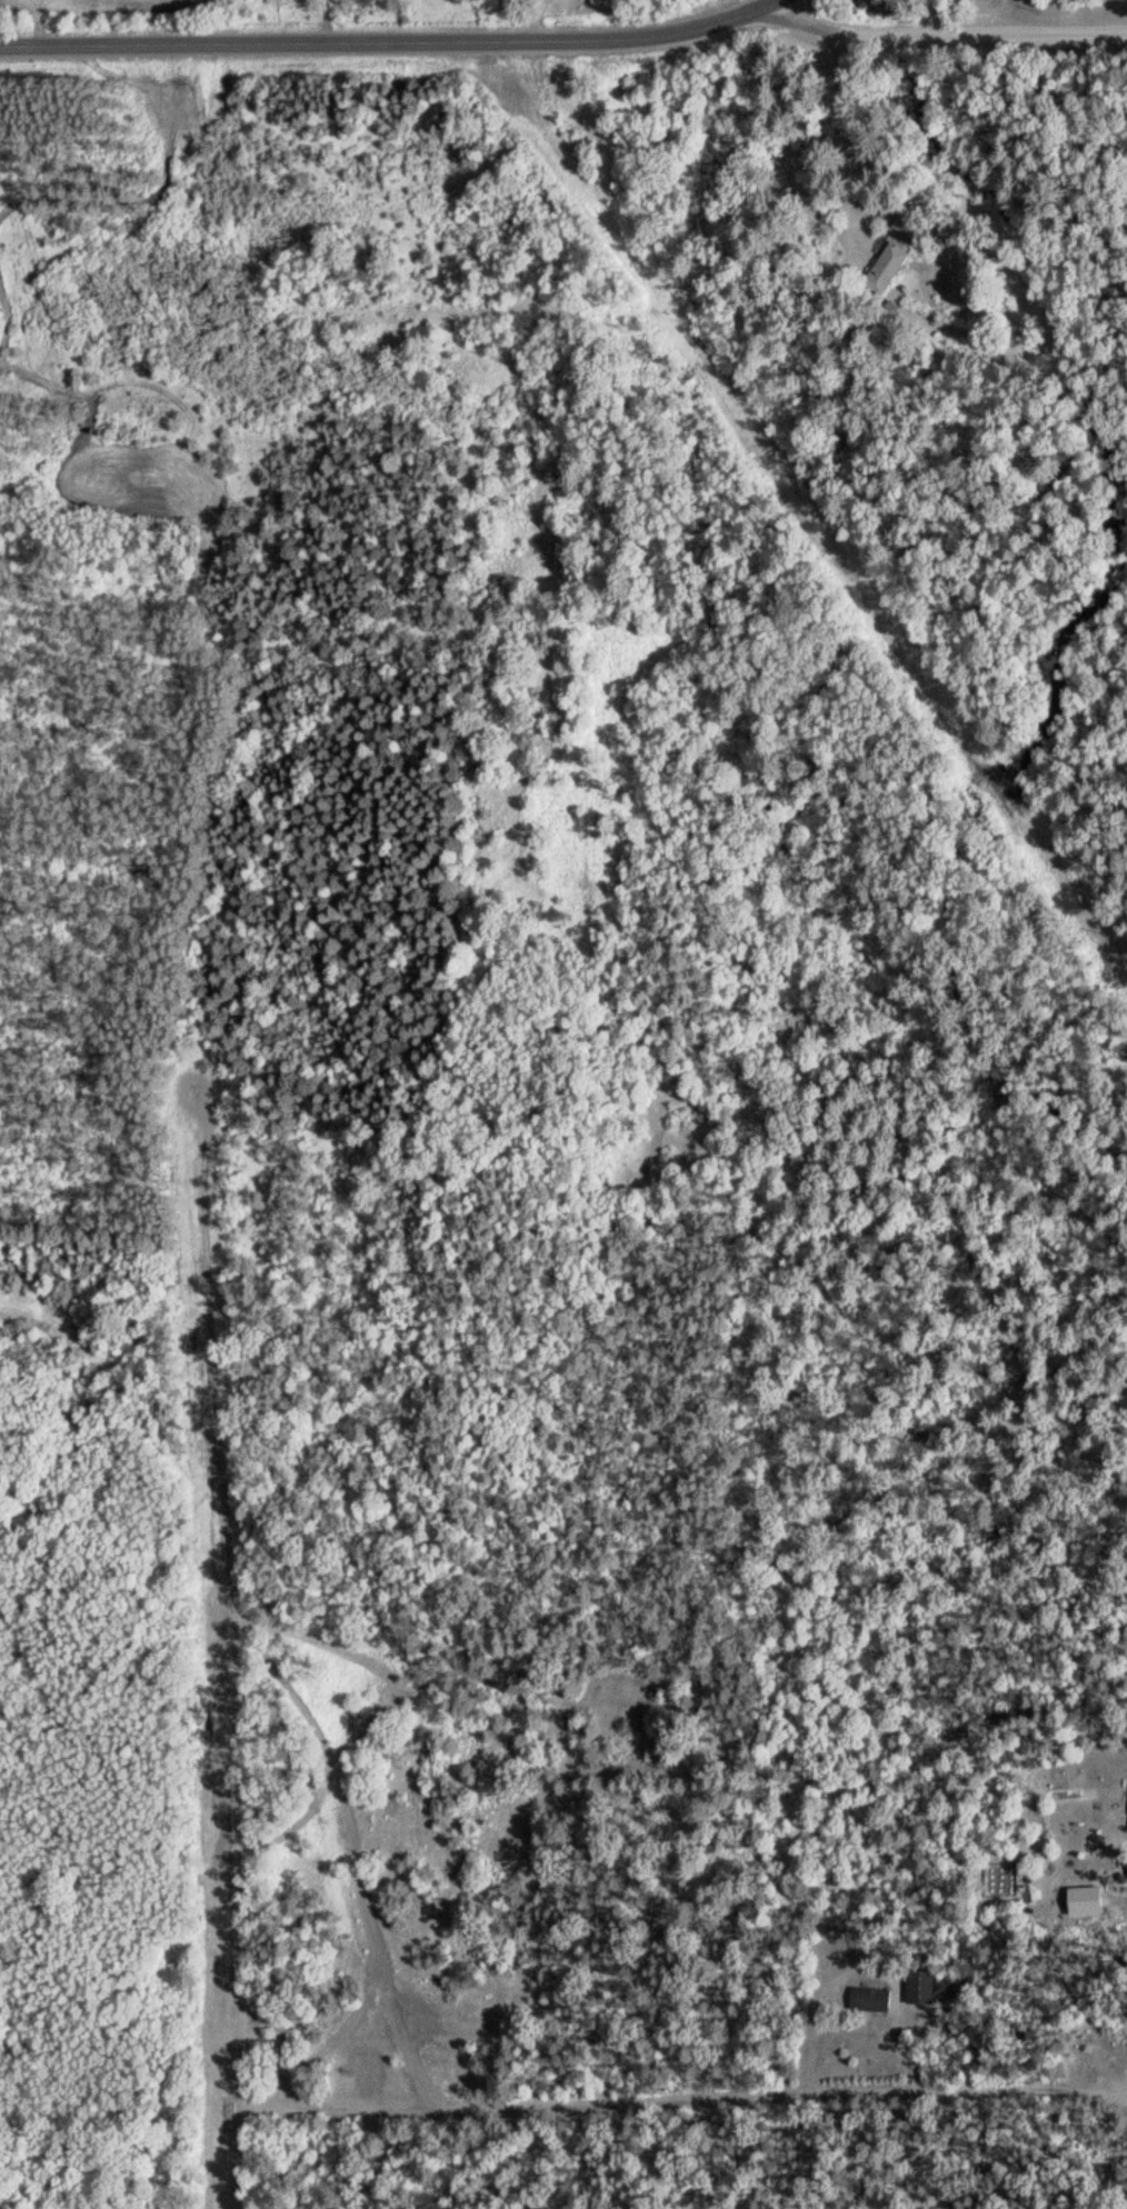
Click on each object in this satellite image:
road: (771, 1)
road: (537, 19)
road: (944, 36)
road: (388, 43)
building: (901, 222)
building: (884, 262)
road: (306, 1723)
building: (919, 1986)
building: (869, 1999)
road: (676, 2117)

